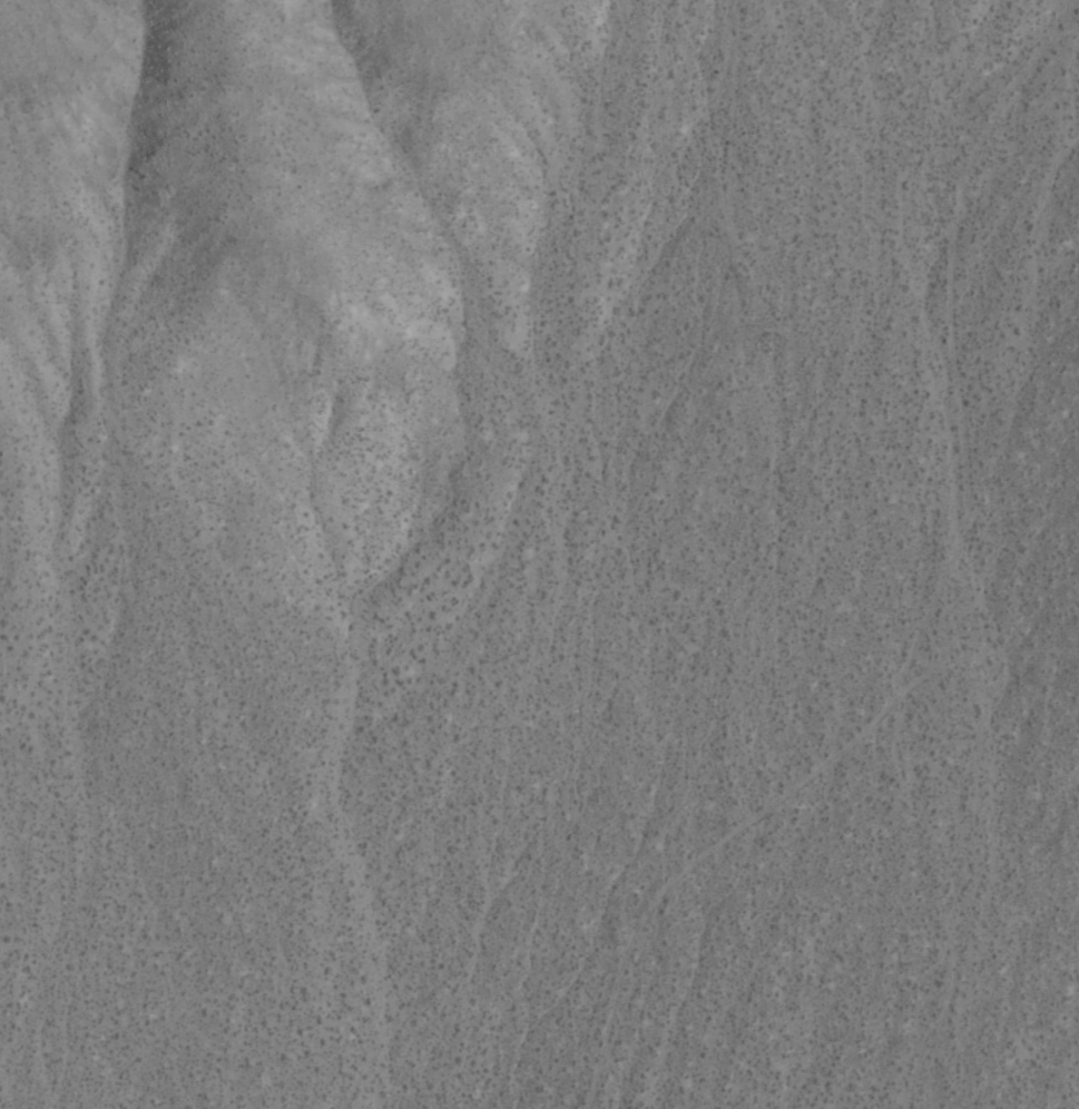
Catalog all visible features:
road: (957, 333)
road: (762, 803)

